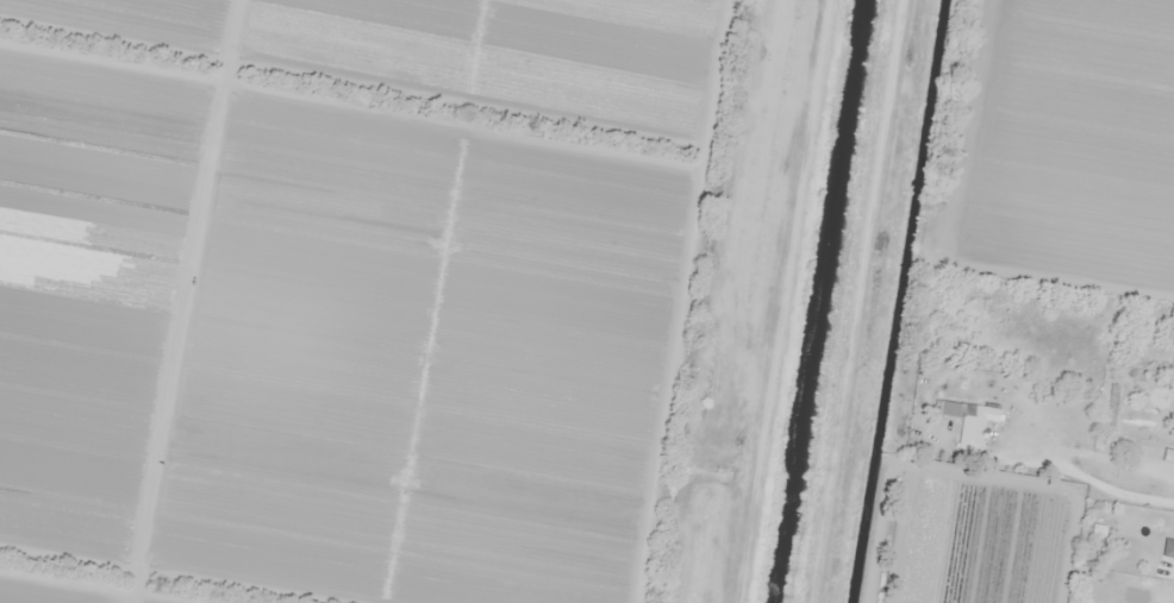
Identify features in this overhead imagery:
building: (1169, 412)
building: (973, 425)
building: (1085, 583)
building: (1172, 601)

